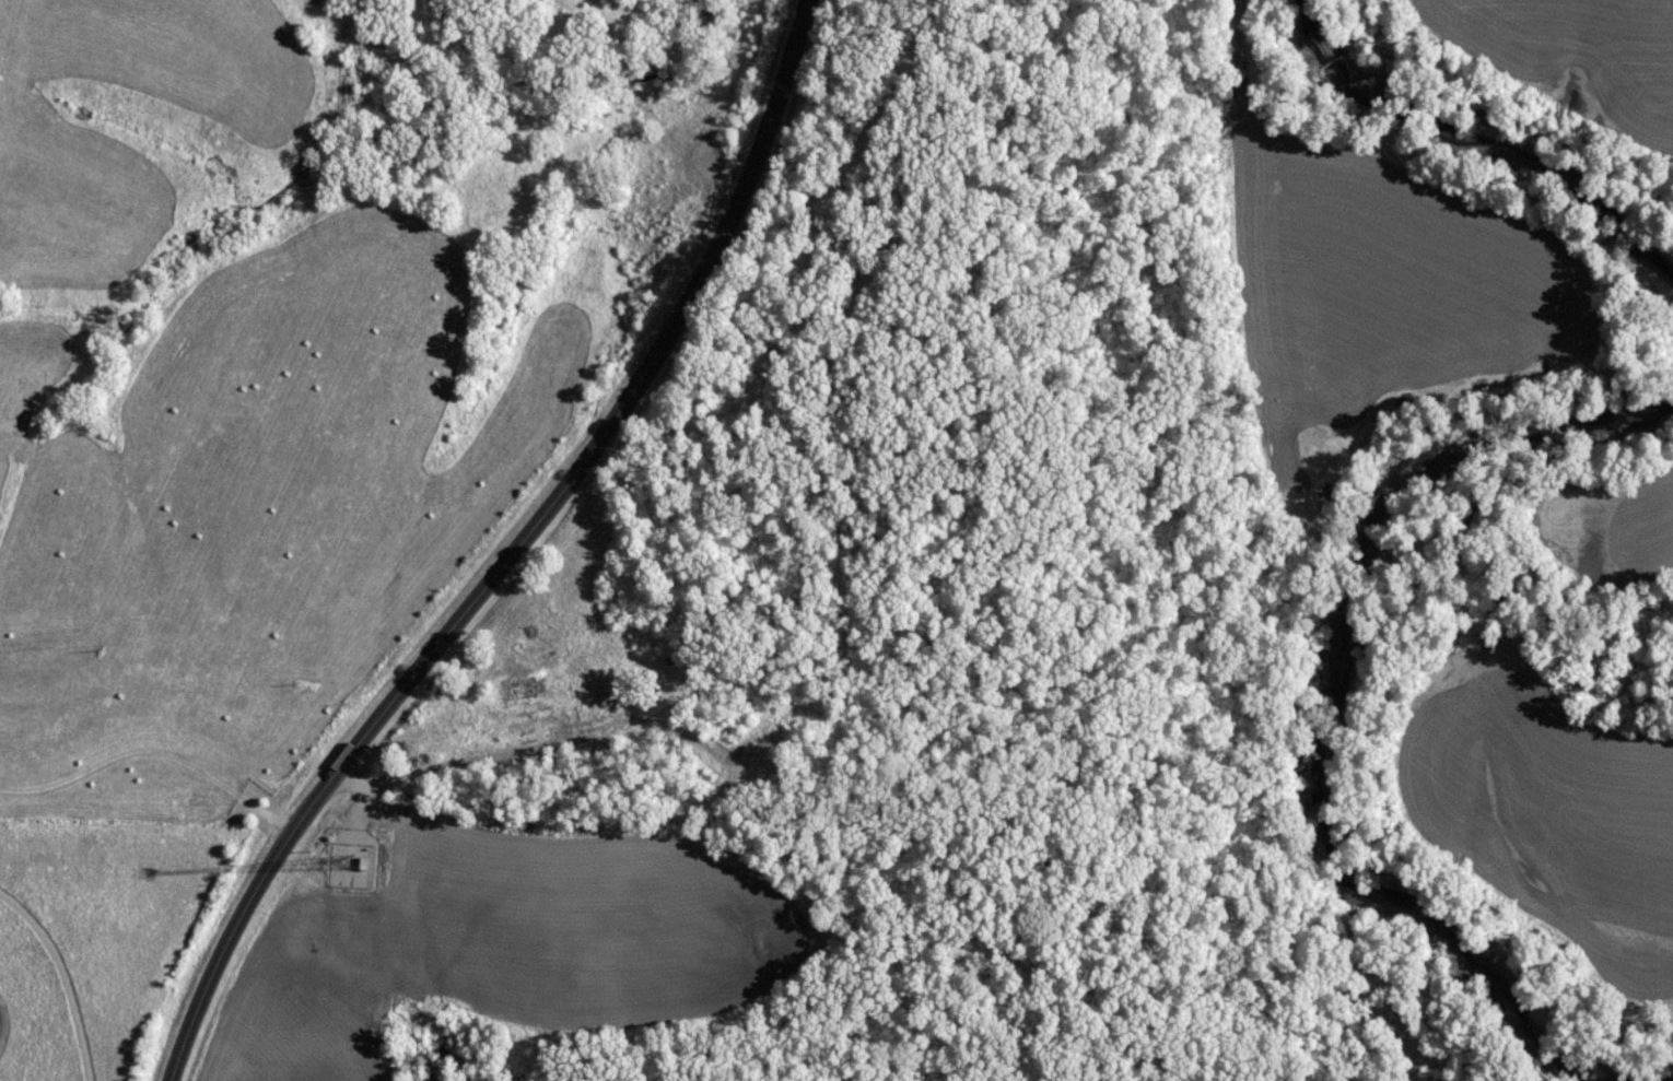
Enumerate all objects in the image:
road: (502, 552)
road: (531, 727)
road: (62, 978)

